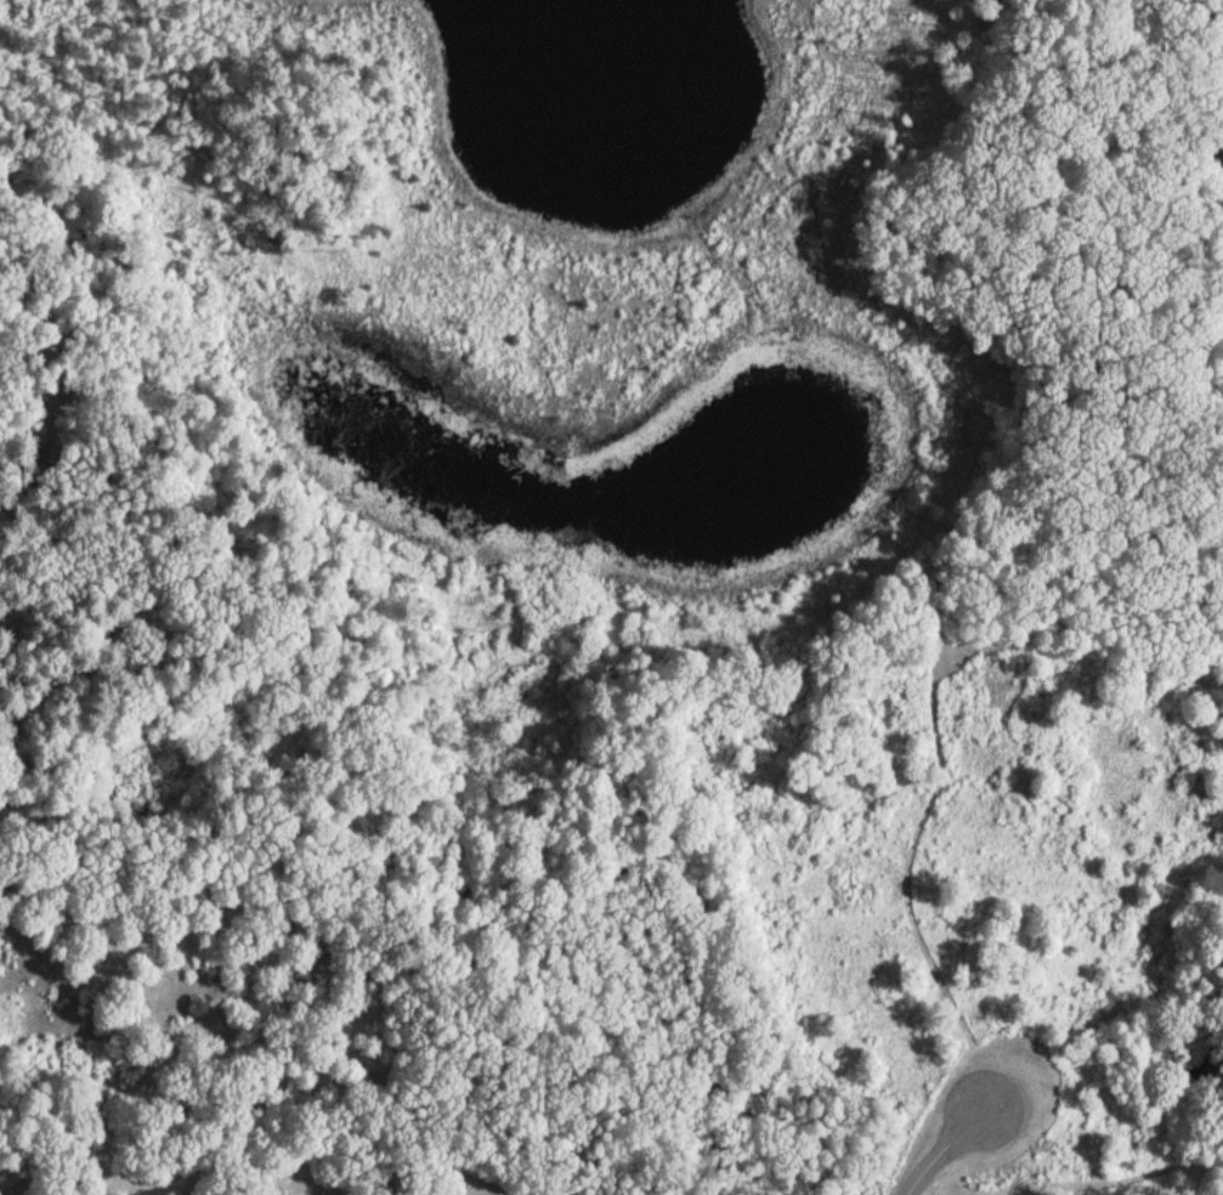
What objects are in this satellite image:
road: (930, 717)
road: (396, 1100)
road: (942, 1151)
road: (1095, 1173)
road: (877, 1178)

